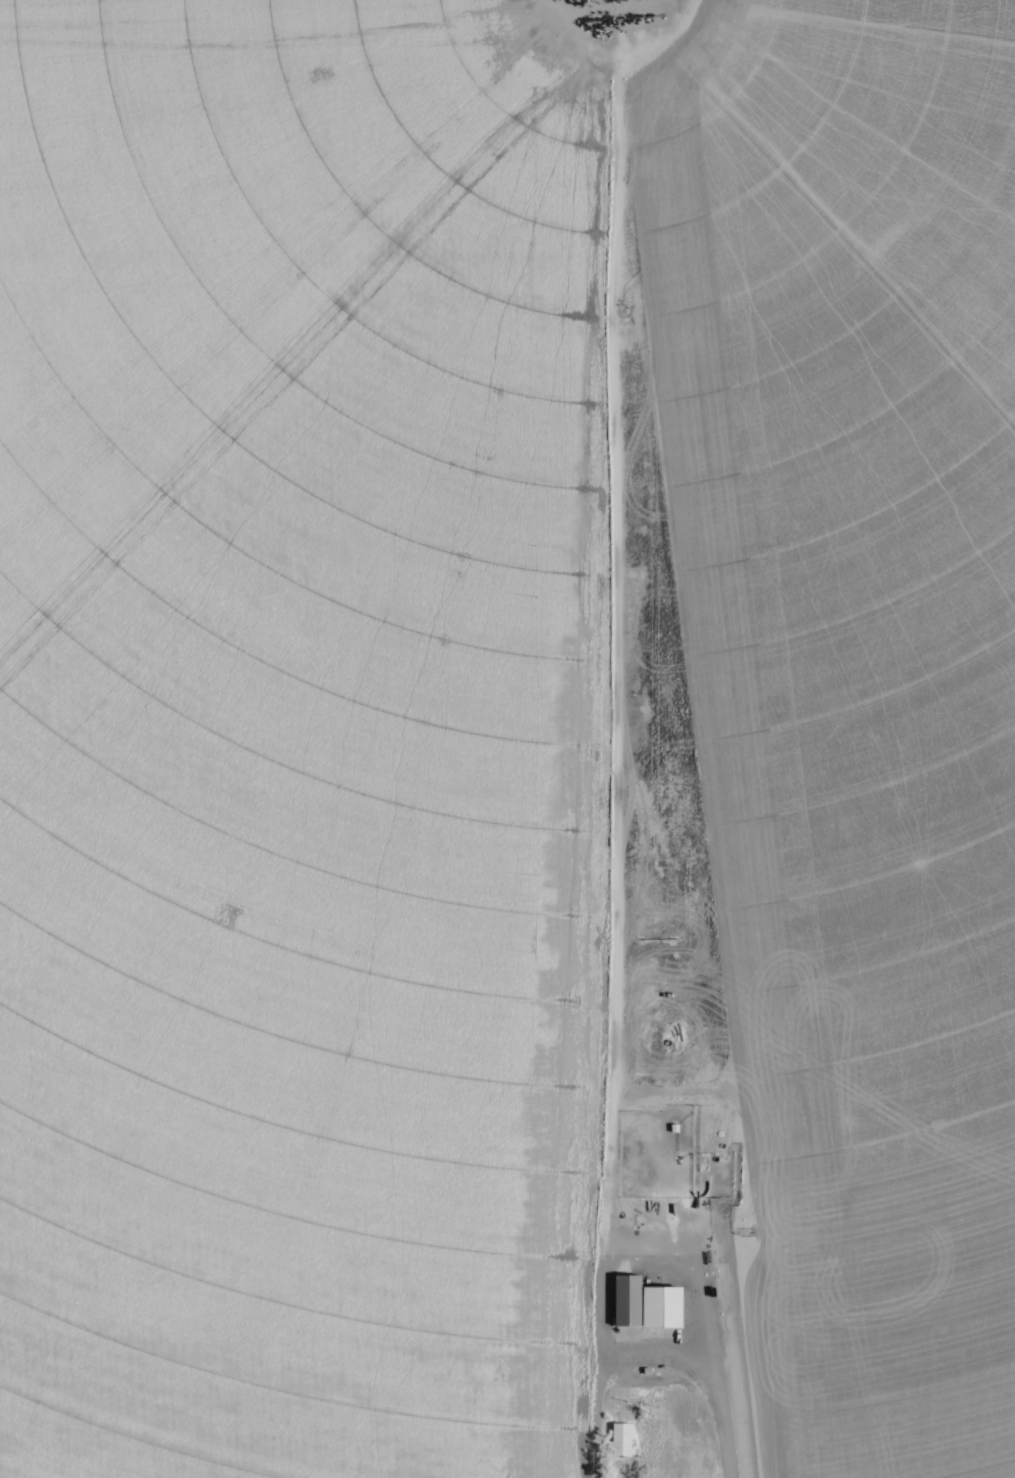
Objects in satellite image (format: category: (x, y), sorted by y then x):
building: (648, 1303)
building: (623, 1438)

